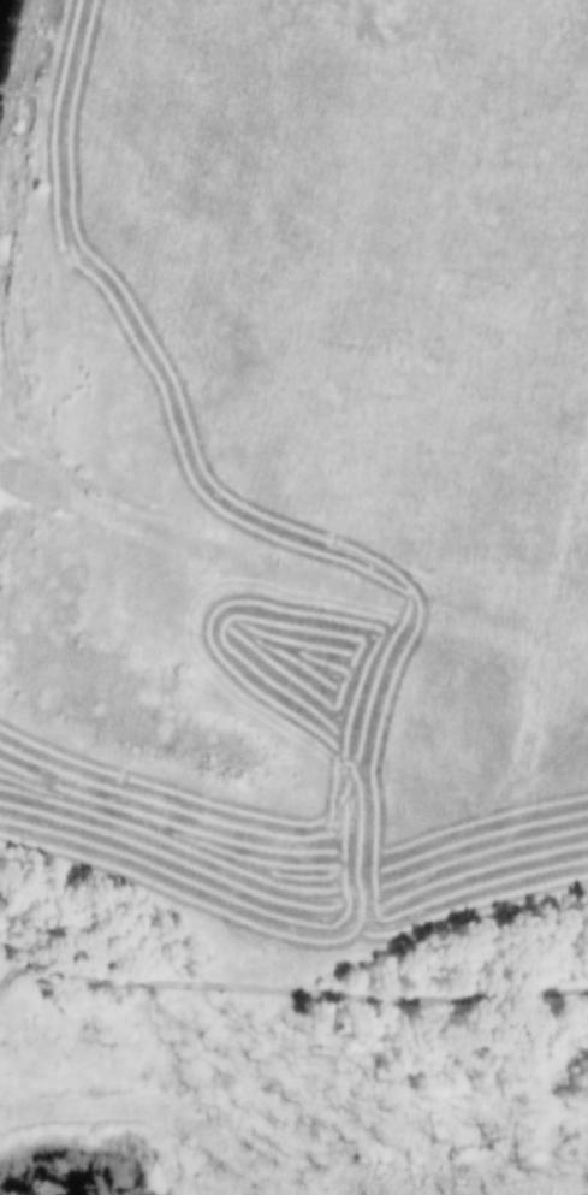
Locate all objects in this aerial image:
road: (554, 1066)
road: (161, 1108)

